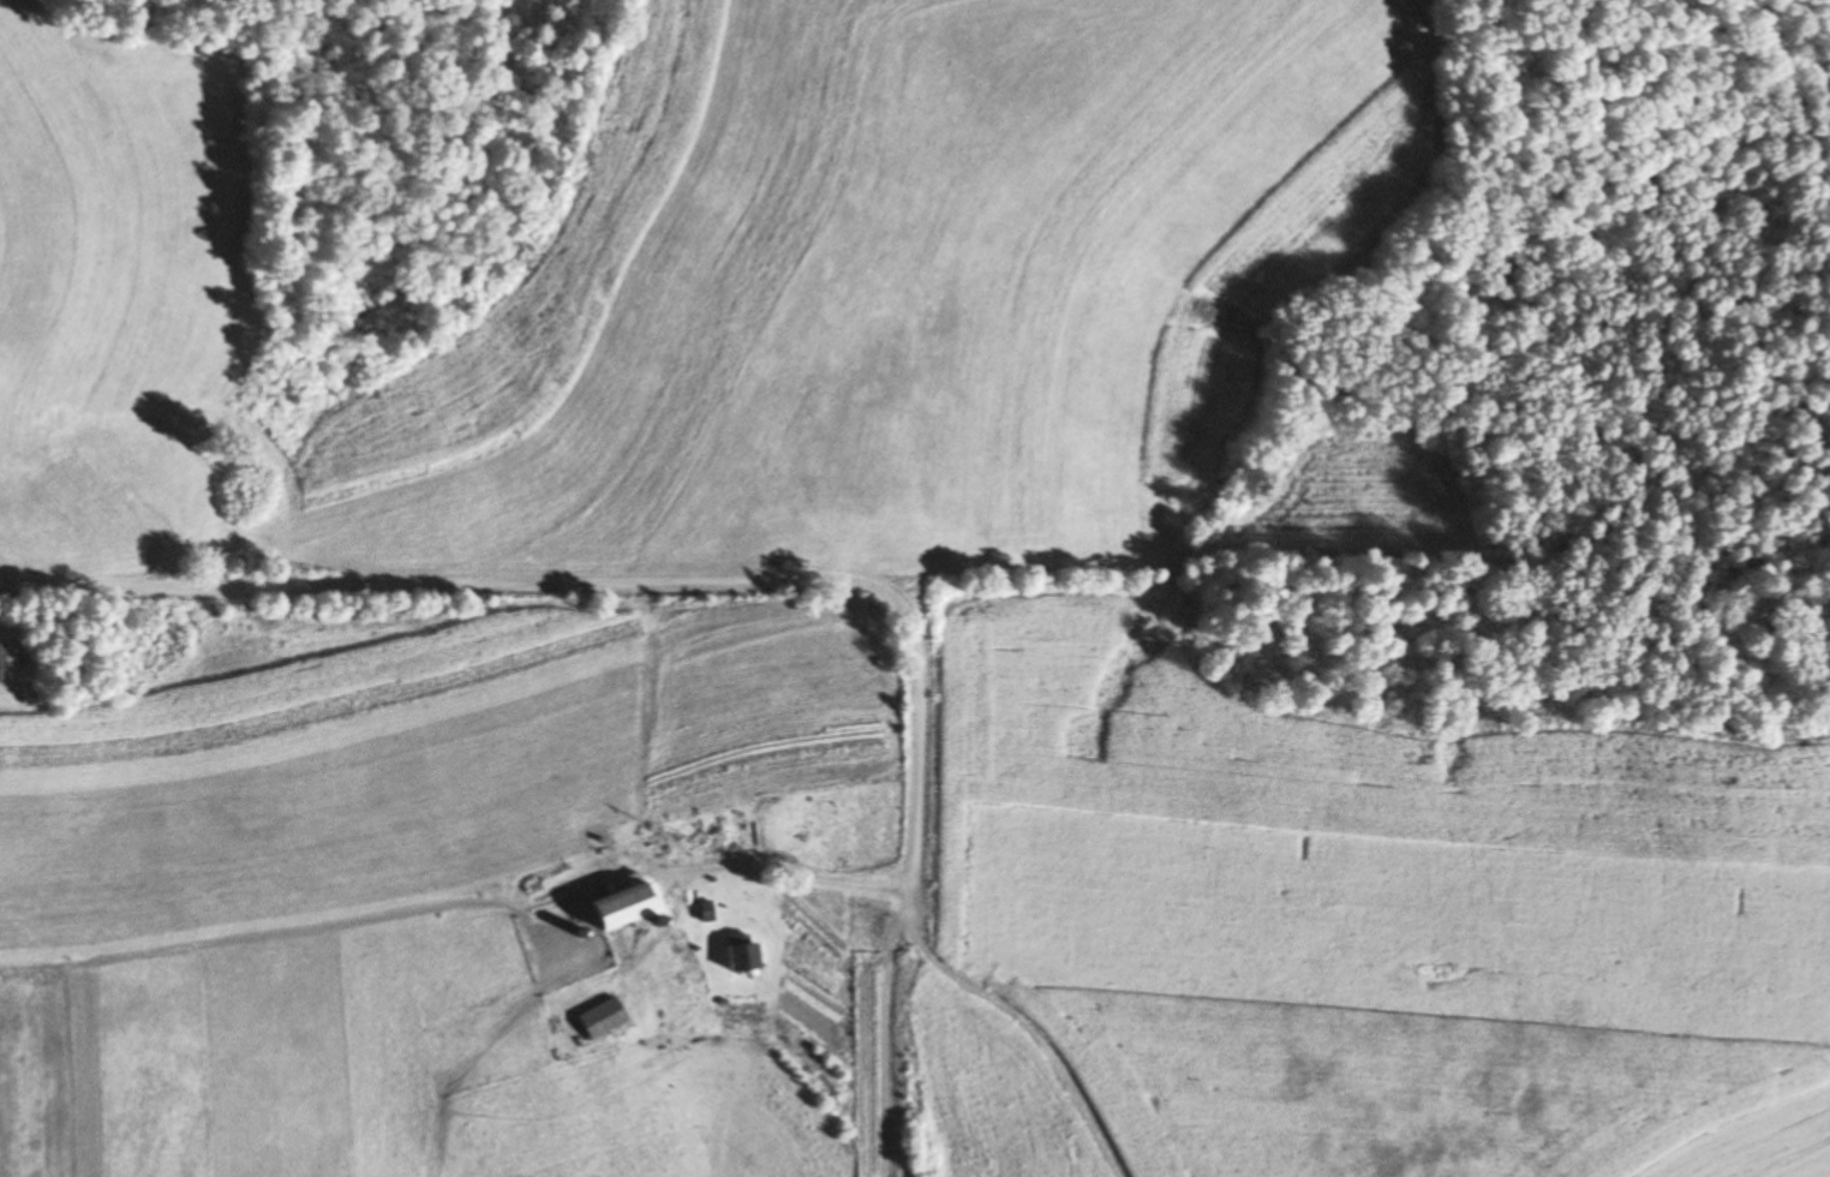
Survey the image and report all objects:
crop: (723, 300)
crop: (1368, 503)
road: (711, 578)
crop: (365, 840)
building: (620, 903)
crop: (1350, 906)
building: (738, 951)
building: (596, 1018)
crop: (425, 1021)
crop: (982, 1092)
crop: (632, 1121)
crop: (1754, 1140)

